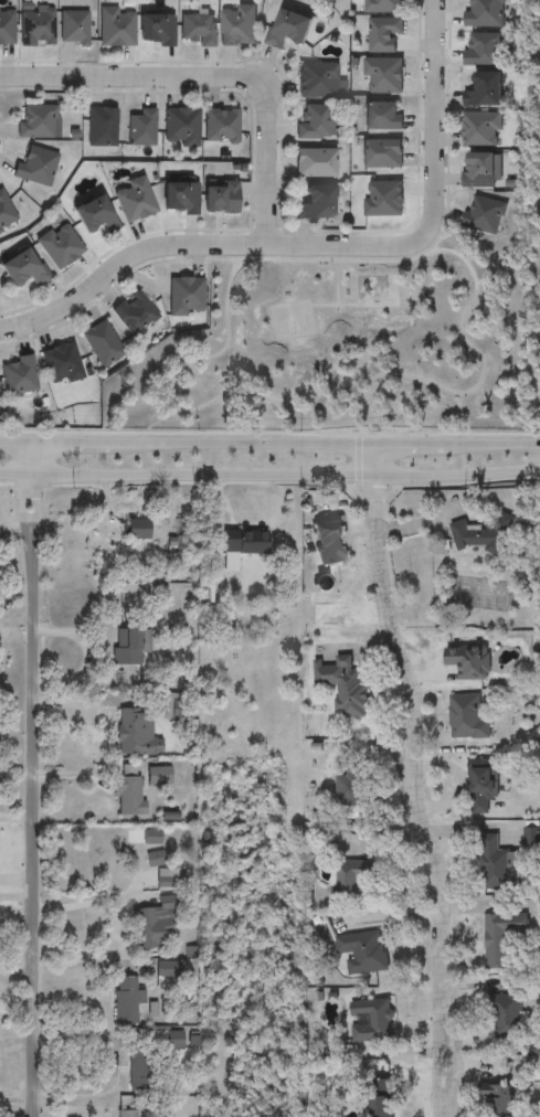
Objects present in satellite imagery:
building: (383, 6)
building: (484, 12)
building: (236, 23)
building: (7, 24)
building: (36, 25)
building: (73, 26)
building: (115, 26)
building: (287, 26)
building: (156, 28)
building: (197, 28)
building: (382, 33)
building: (483, 47)
building: (383, 74)
building: (316, 78)
road: (212, 82)
building: (484, 89)
building: (382, 114)
building: (39, 120)
building: (315, 121)
building: (221, 125)
building: (102, 126)
building: (181, 126)
building: (480, 126)
building: (141, 127)
building: (382, 152)
building: (315, 161)
building: (36, 166)
building: (480, 169)
building: (220, 195)
building: (179, 196)
building: (382, 196)
building: (133, 199)
building: (315, 202)
building: (6, 211)
building: (483, 213)
building: (94, 214)
building: (59, 244)
road: (324, 245)
building: (22, 266)
building: (186, 295)
building: (134, 311)
building: (102, 342)
park: (341, 343)
building: (61, 363)
building: (19, 376)
road: (17, 440)
road: (74, 442)
road: (242, 442)
road: (405, 443)
road: (490, 443)
road: (269, 475)
building: (135, 530)
building: (483, 536)
building: (244, 543)
building: (328, 543)
building: (129, 646)
building: (345, 687)
building: (467, 717)
building: (135, 733)
road: (39, 778)
road: (417, 778)
building: (481, 788)
building: (352, 789)
building: (129, 797)
building: (531, 837)
building: (497, 865)
building: (351, 877)
road: (93, 900)
building: (153, 925)
building: (501, 937)
building: (363, 953)
building: (166, 969)
building: (128, 1000)
building: (507, 1017)
building: (371, 1021)
building: (167, 1039)
building: (140, 1070)
building: (380, 1098)
building: (496, 1102)
building: (128, 1107)

